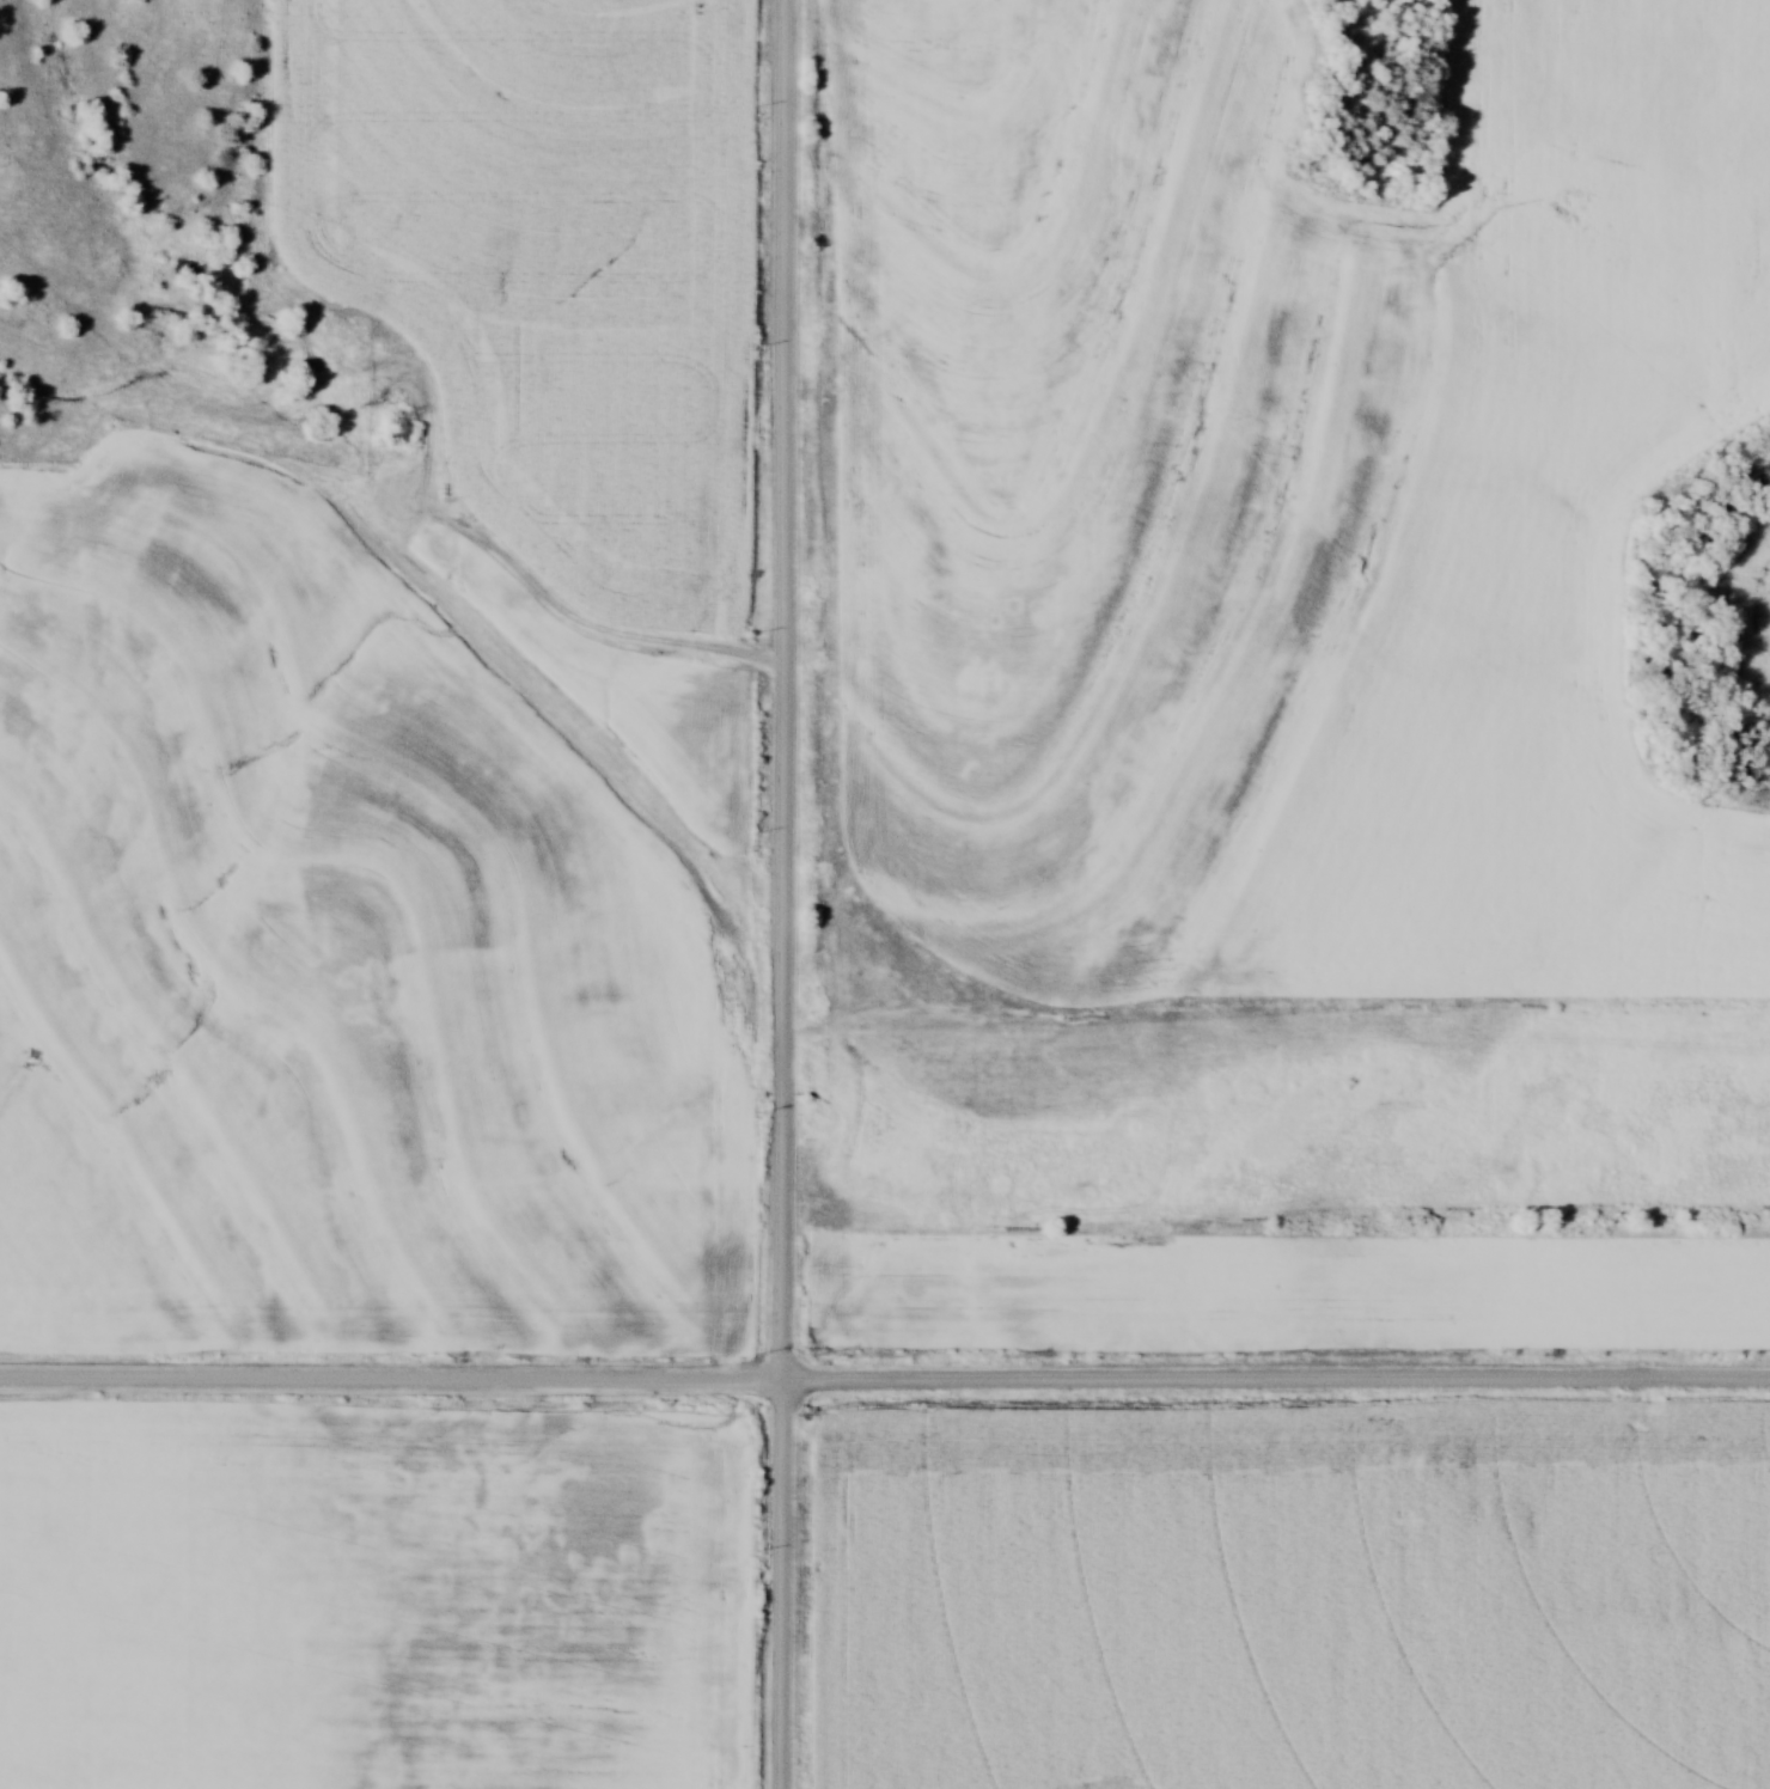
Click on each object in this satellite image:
building: (403, 439)
road: (783, 894)
road: (884, 1379)

